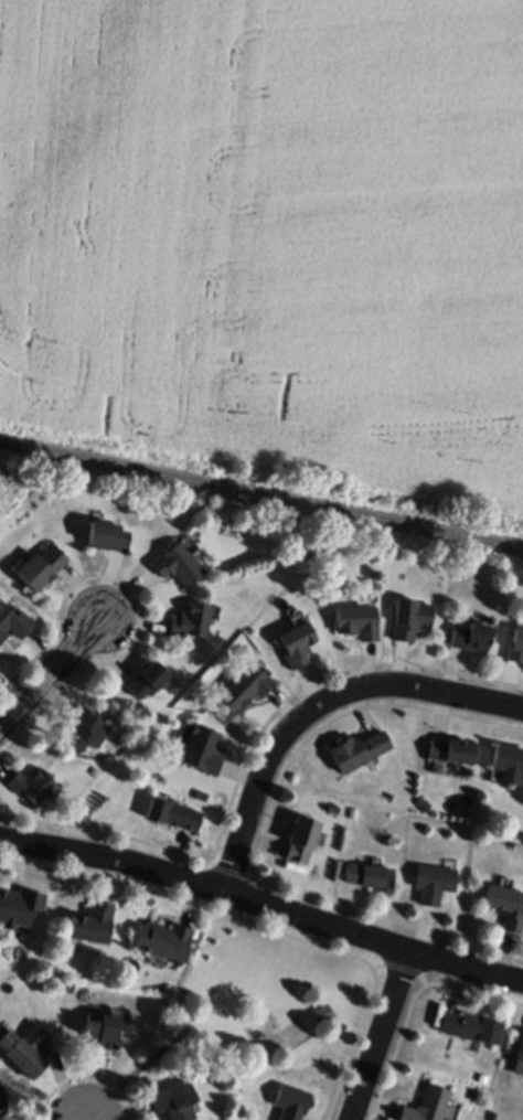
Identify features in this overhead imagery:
crop: (270, 237)
park: (10, 484)
railway: (260, 495)
building: (106, 535)
building: (178, 562)
building: (40, 566)
building: (409, 617)
building: (190, 620)
building: (356, 621)
building: (13, 622)
building: (469, 636)
building: (296, 643)
building: (515, 644)
road: (49, 673)
building: (147, 678)
building: (245, 685)
road: (318, 705)
building: (86, 727)
building: (202, 749)
building: (359, 749)
building: (451, 749)
building: (508, 761)
building: (32, 783)
building: (332, 808)
building: (173, 812)
building: (301, 840)
building: (369, 874)
building: (433, 882)
road: (263, 902)
building: (505, 904)
building: (20, 907)
building: (93, 922)
building: (163, 939)
park: (268, 1005)
building: (324, 1012)
building: (470, 1026)
building: (103, 1030)
road: (384, 1034)
building: (271, 1038)
building: (24, 1048)
building: (519, 1054)
road: (128, 1073)
building: (2, 1100)
building: (172, 1101)
building: (290, 1101)
building: (426, 1105)
building: (2, 1110)
building: (492, 1114)

